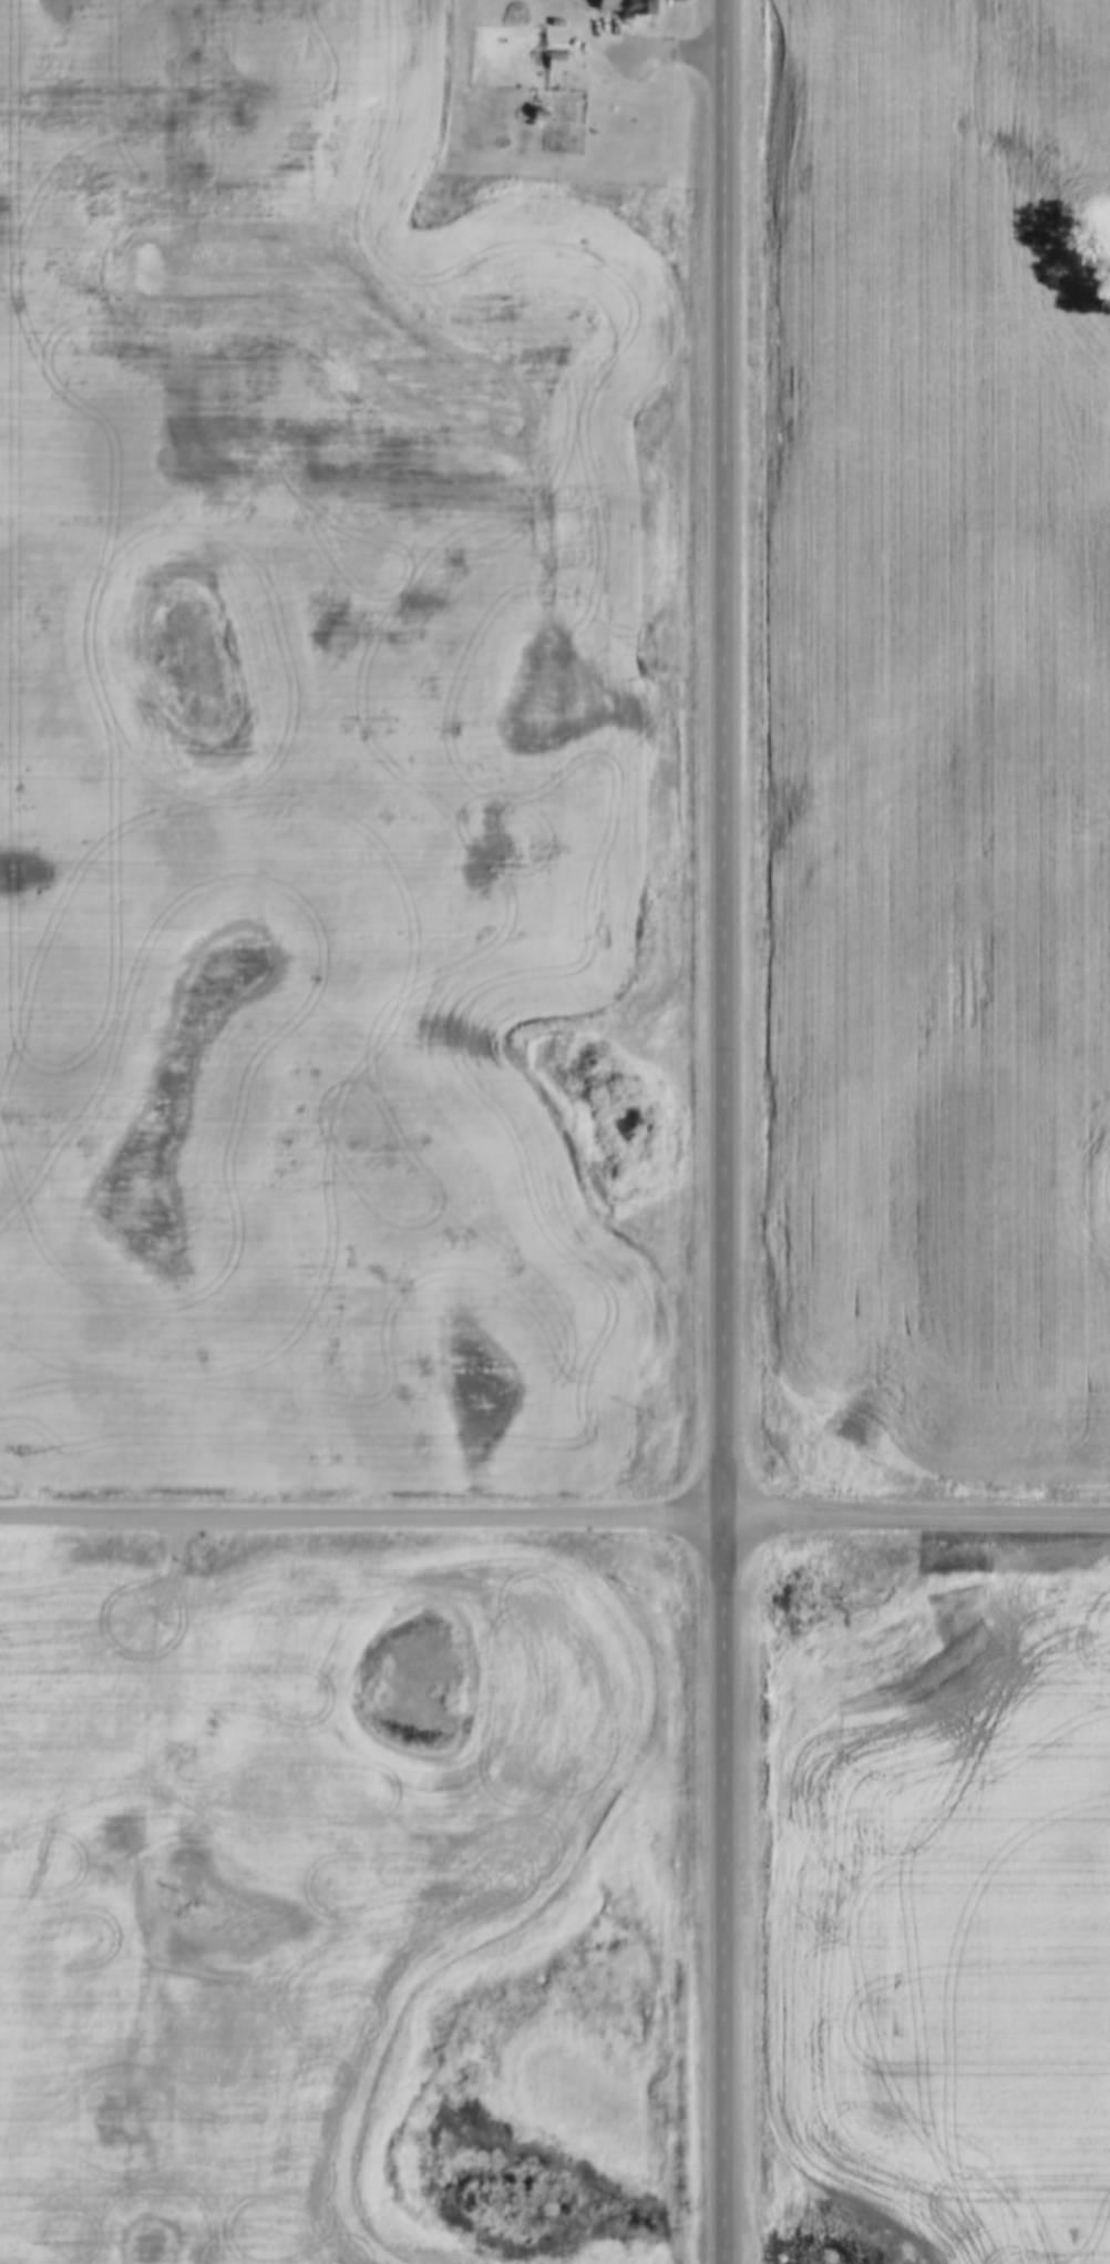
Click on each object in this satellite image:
building: (628, 1)
building: (546, 48)
road: (650, 50)
building: (531, 101)
building: (483, 175)
silo: (483, 175)
building: (500, 176)
silo: (500, 176)
building: (515, 177)
silo: (515, 177)
building: (531, 177)
silo: (531, 177)
building: (545, 177)
silo: (545, 177)
road: (721, 1131)
road: (555, 1515)

